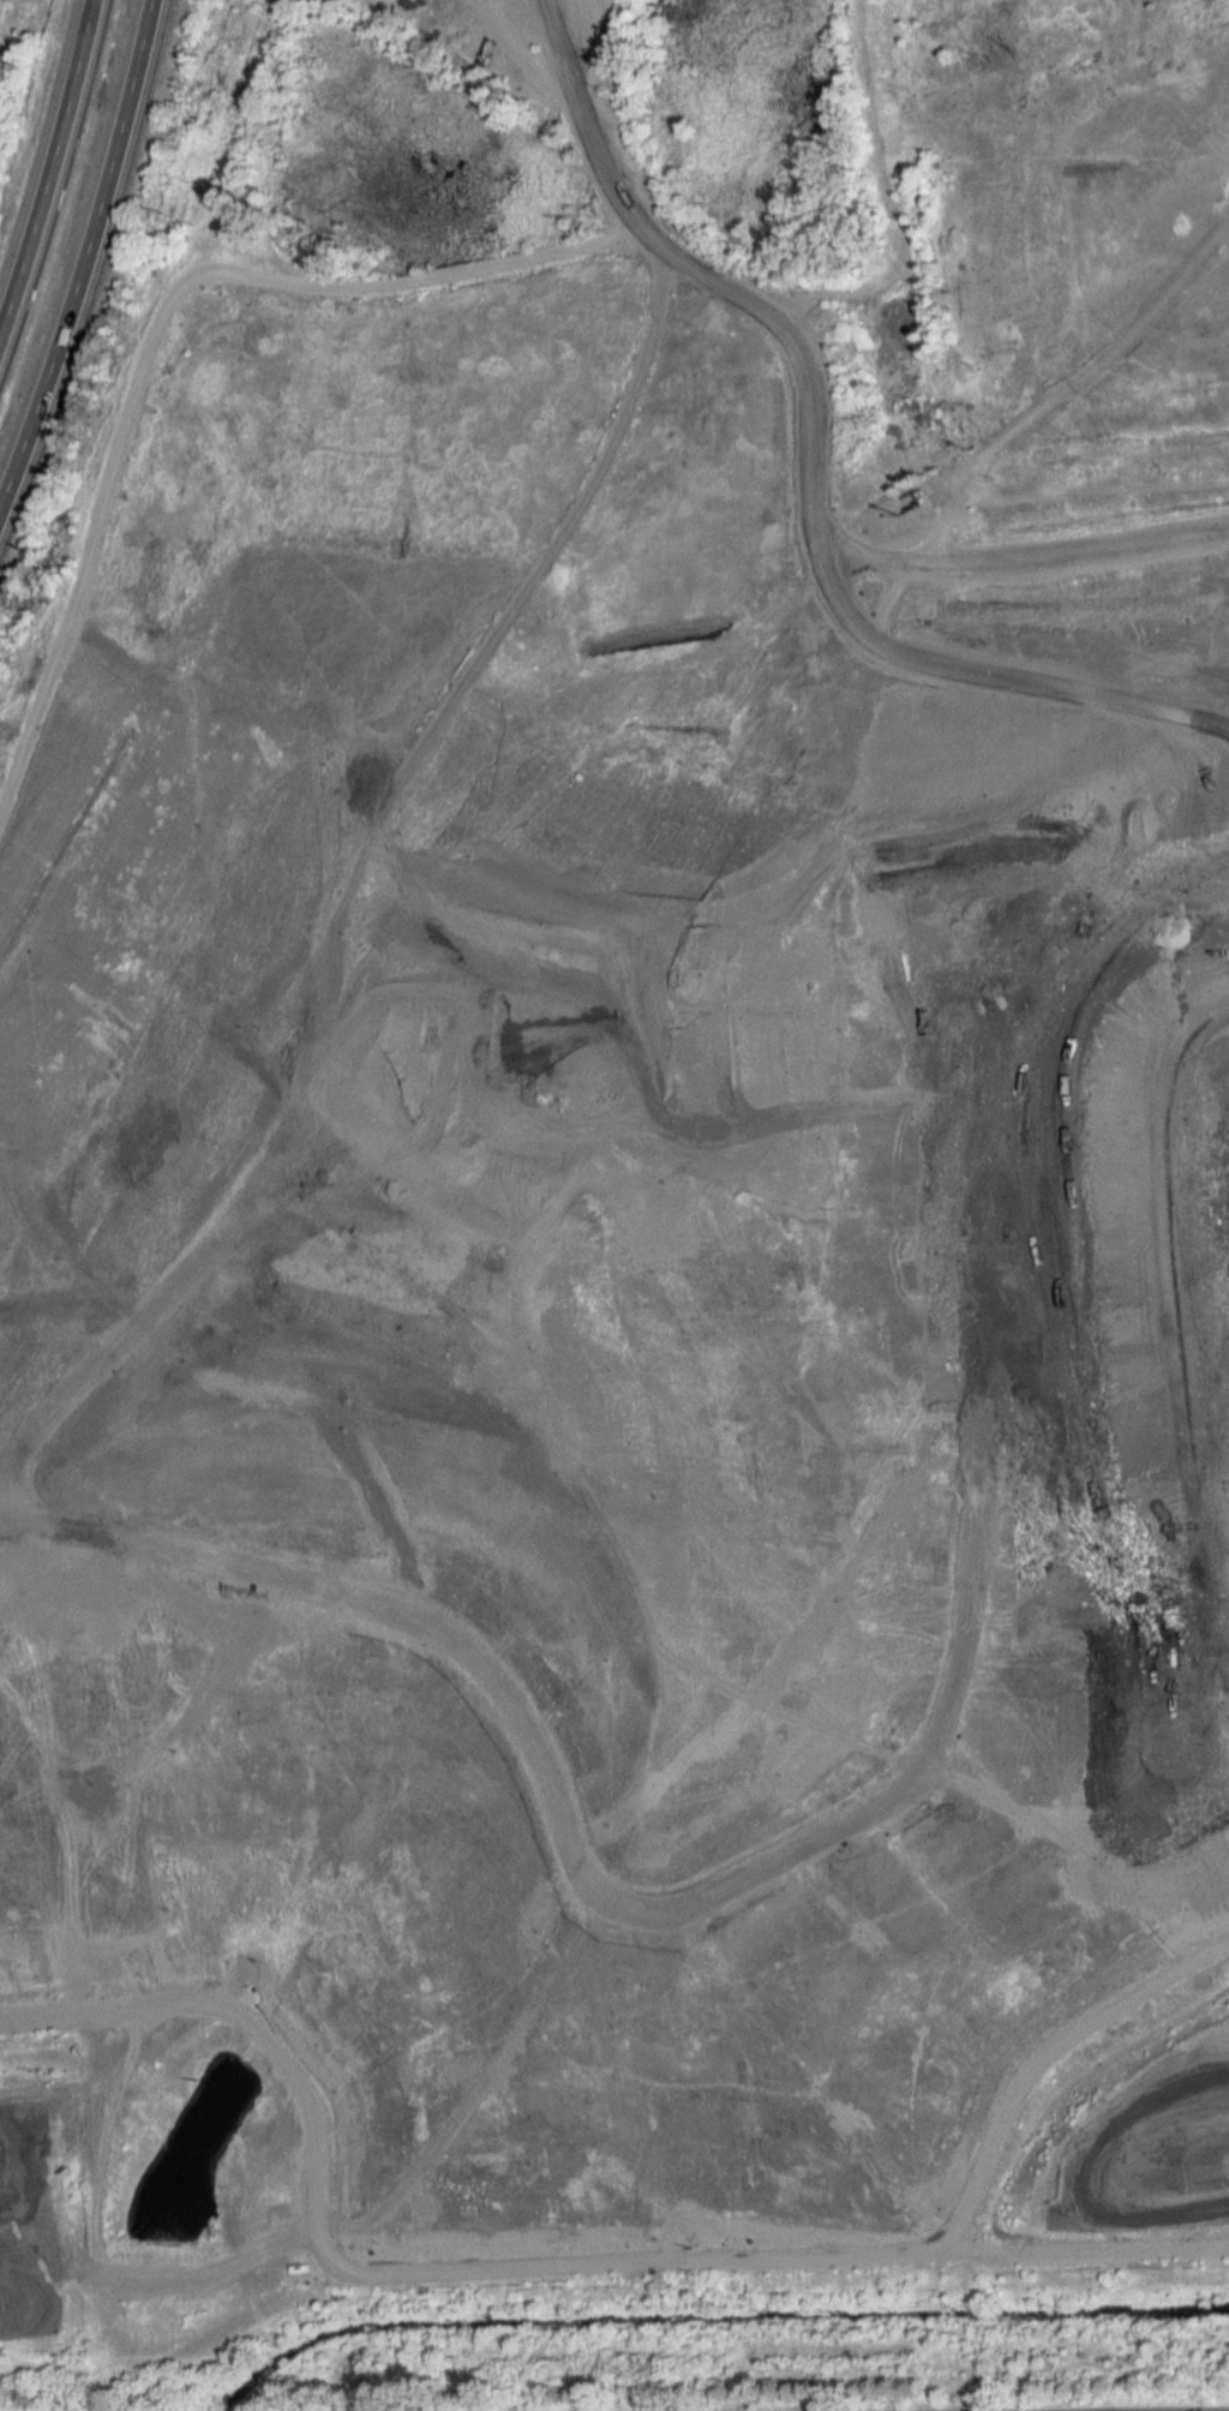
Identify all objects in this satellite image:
road: (594, 120)
road: (56, 186)
road: (88, 251)
road: (1067, 390)
landfill: (627, 1208)

